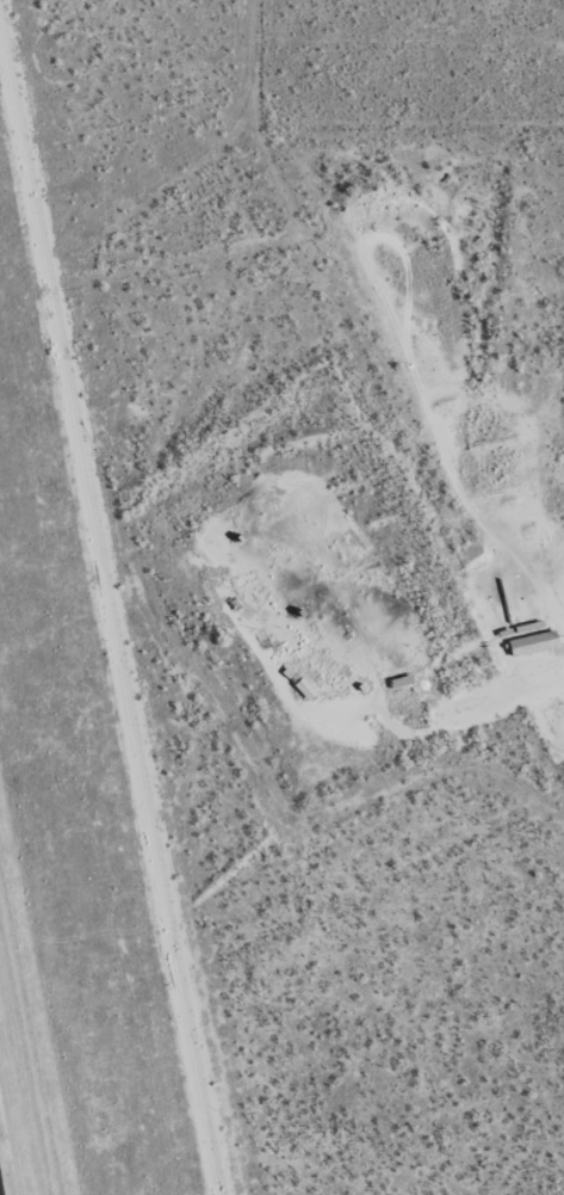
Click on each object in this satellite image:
airport: (74, 800)

